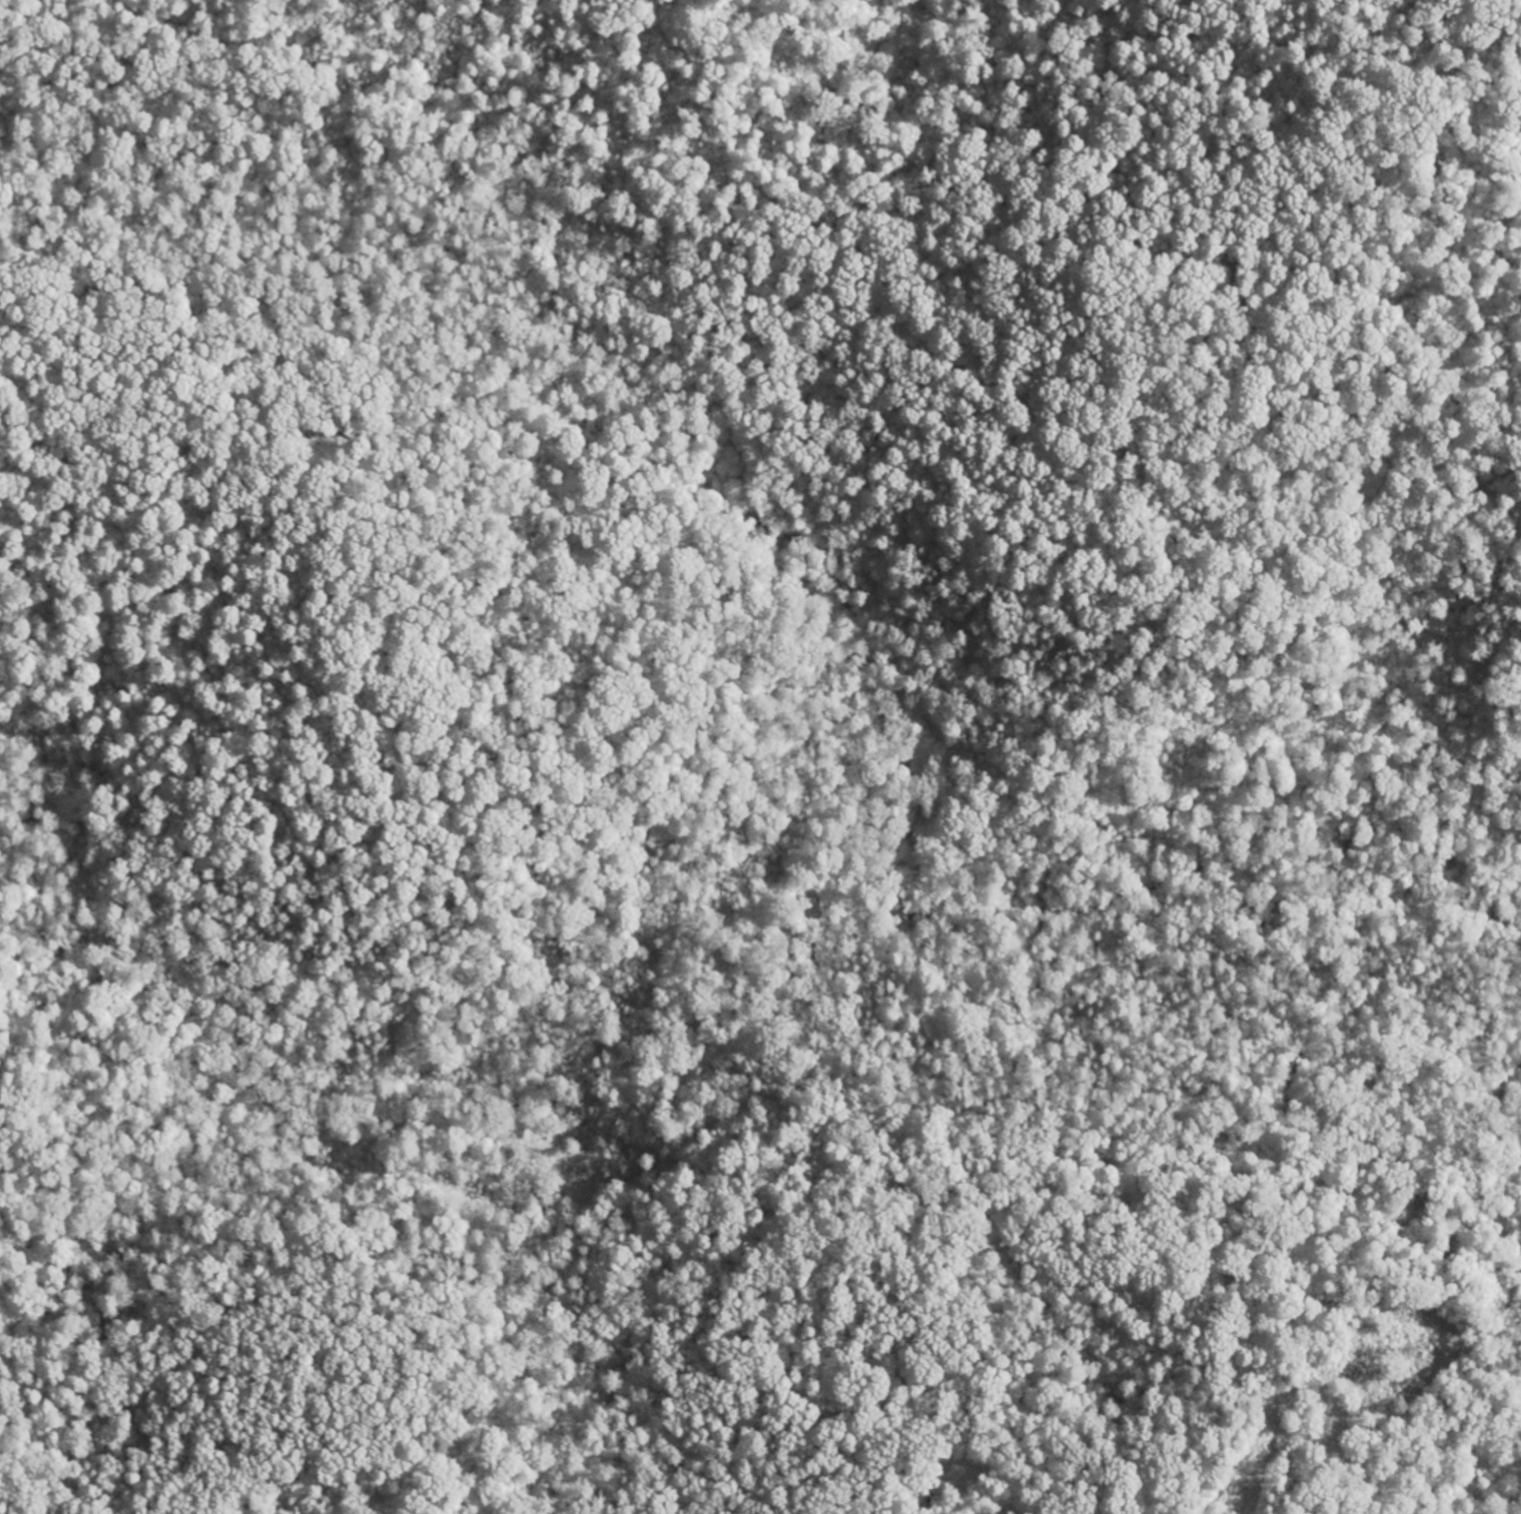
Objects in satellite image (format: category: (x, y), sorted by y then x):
road: (72, 34)
road: (1078, 80)
road: (195, 1016)
road: (439, 1111)

